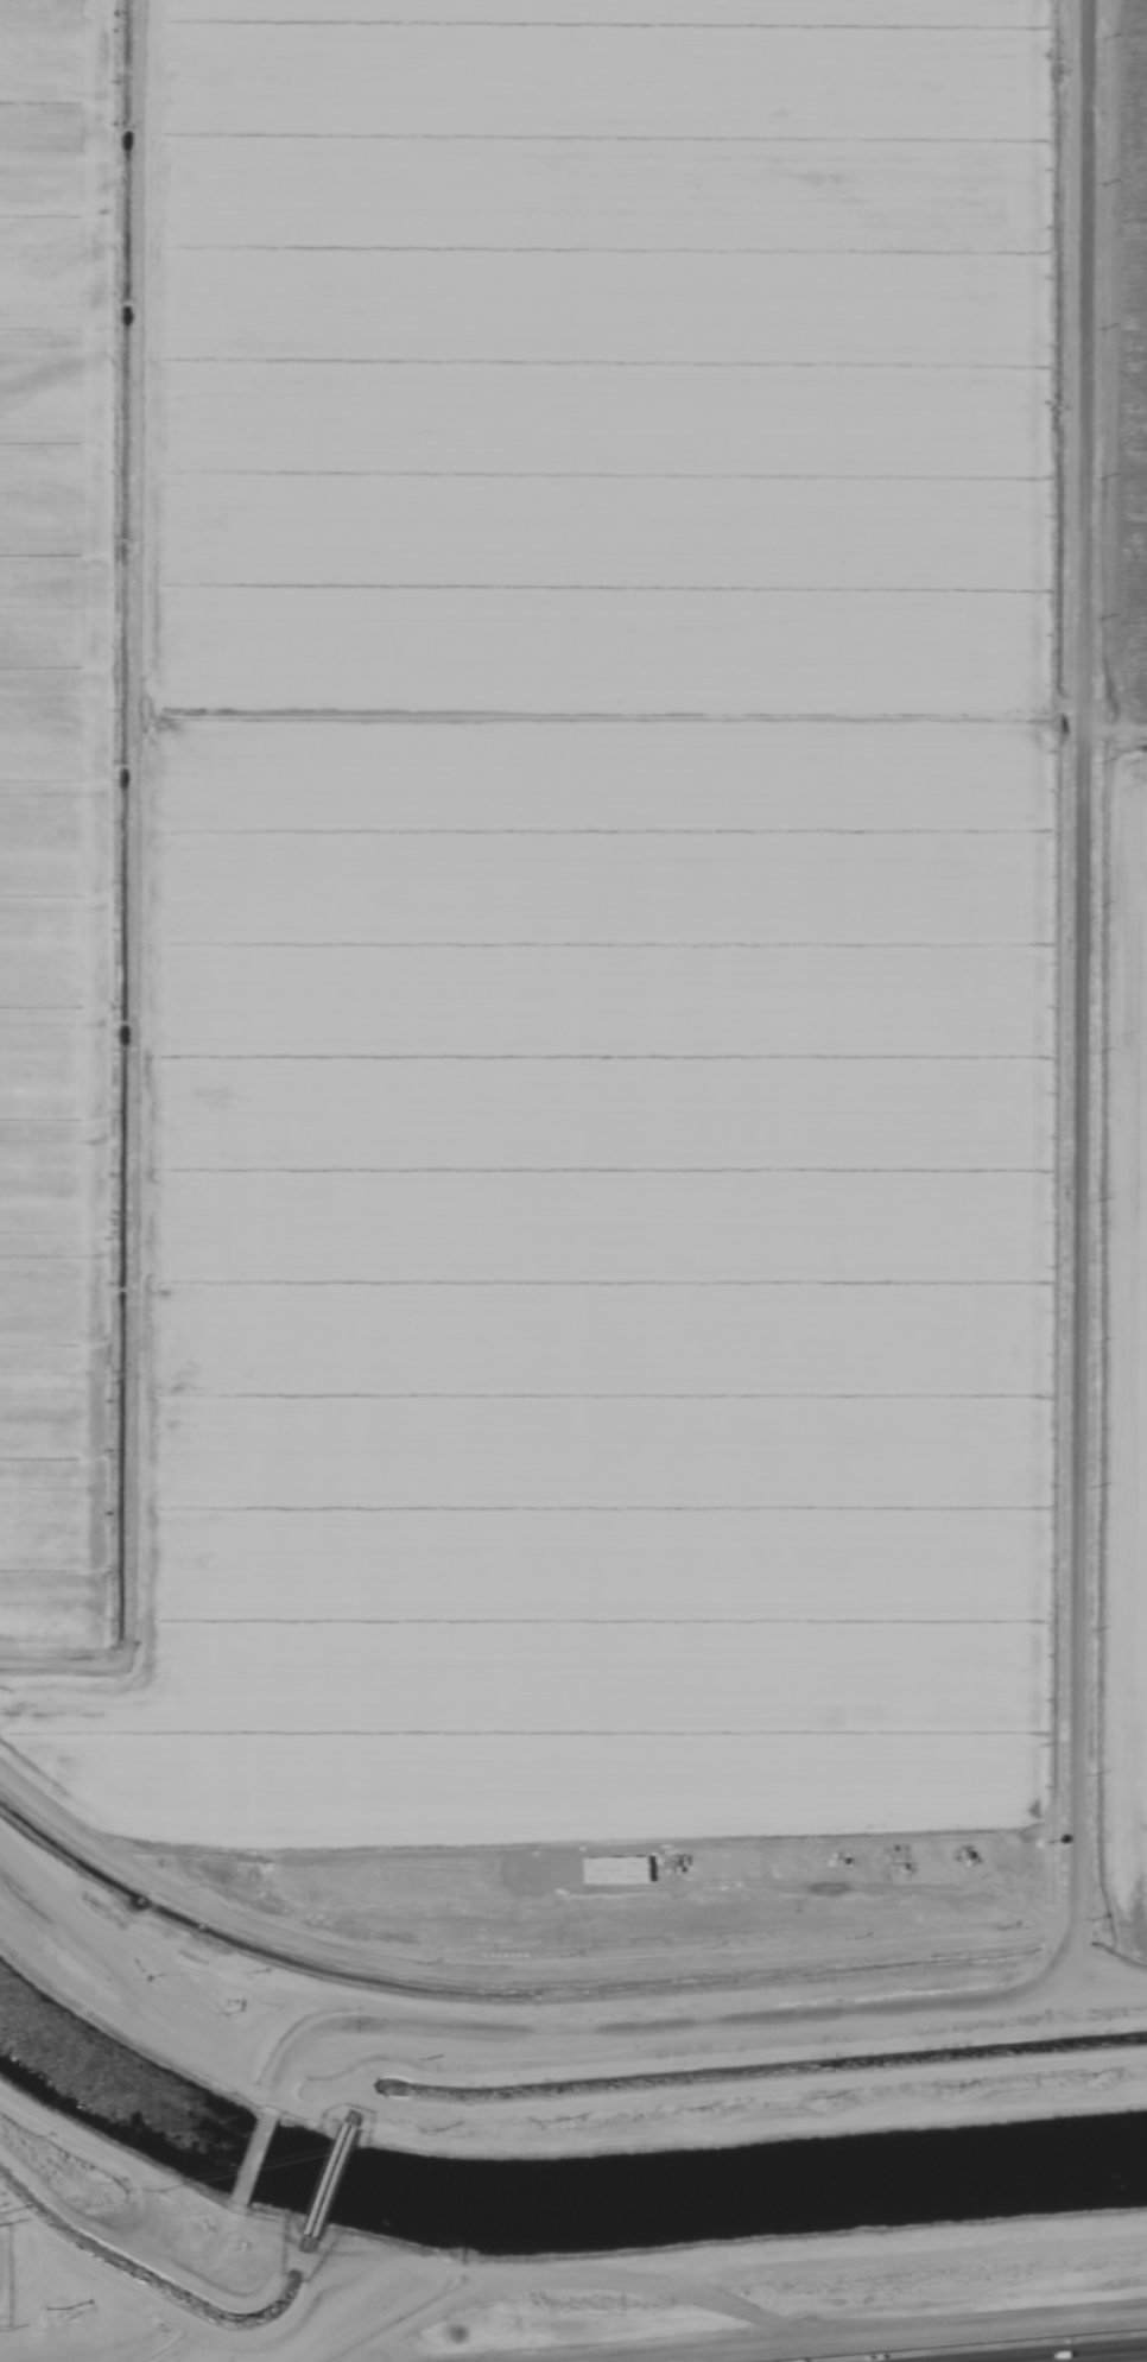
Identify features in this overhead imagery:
road: (1082, 1027)
road: (603, 2028)
road: (714, 2053)
road: (252, 2161)
road: (166, 2323)
road: (1029, 2354)

